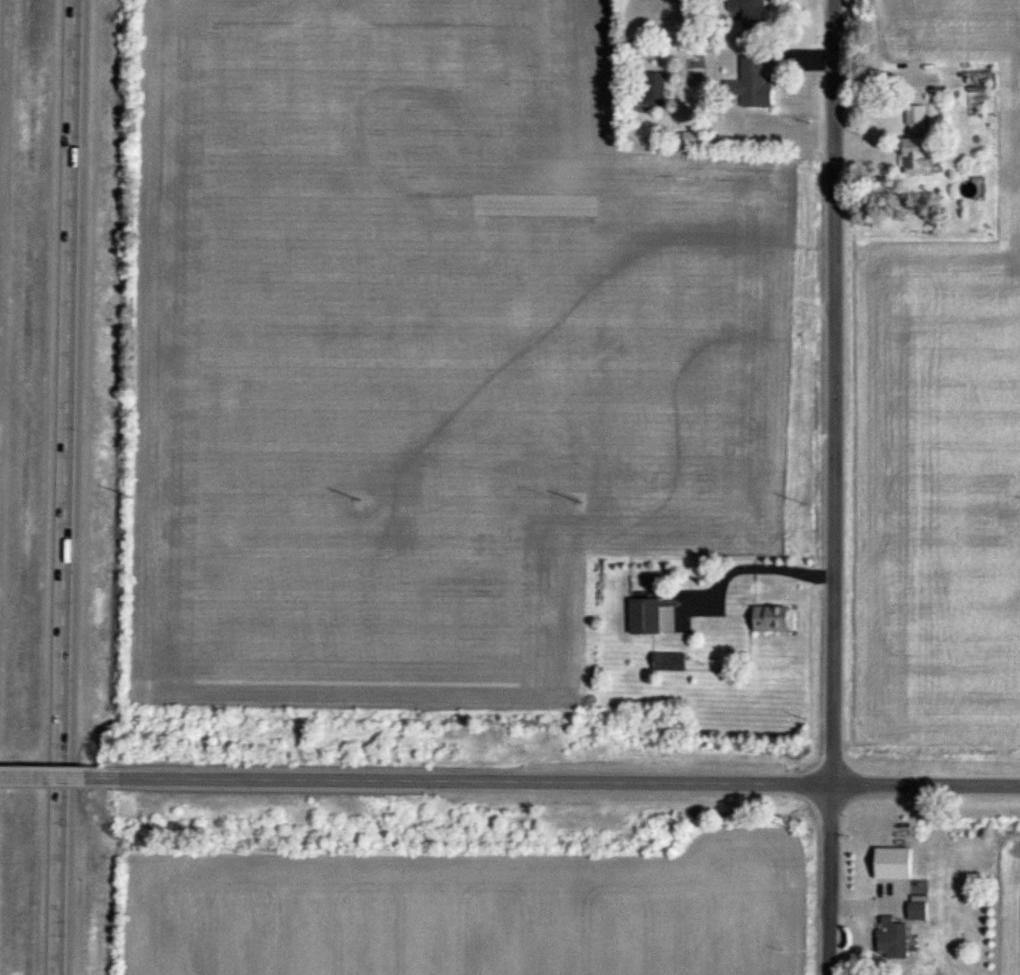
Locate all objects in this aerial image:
building: (750, 13)
building: (752, 86)
building: (656, 91)
building: (916, 117)
building: (917, 159)
road: (68, 487)
road: (832, 487)
building: (645, 616)
building: (774, 618)
building: (669, 661)
road: (68, 774)
road: (484, 777)
road: (926, 780)
building: (918, 911)
building: (892, 940)

